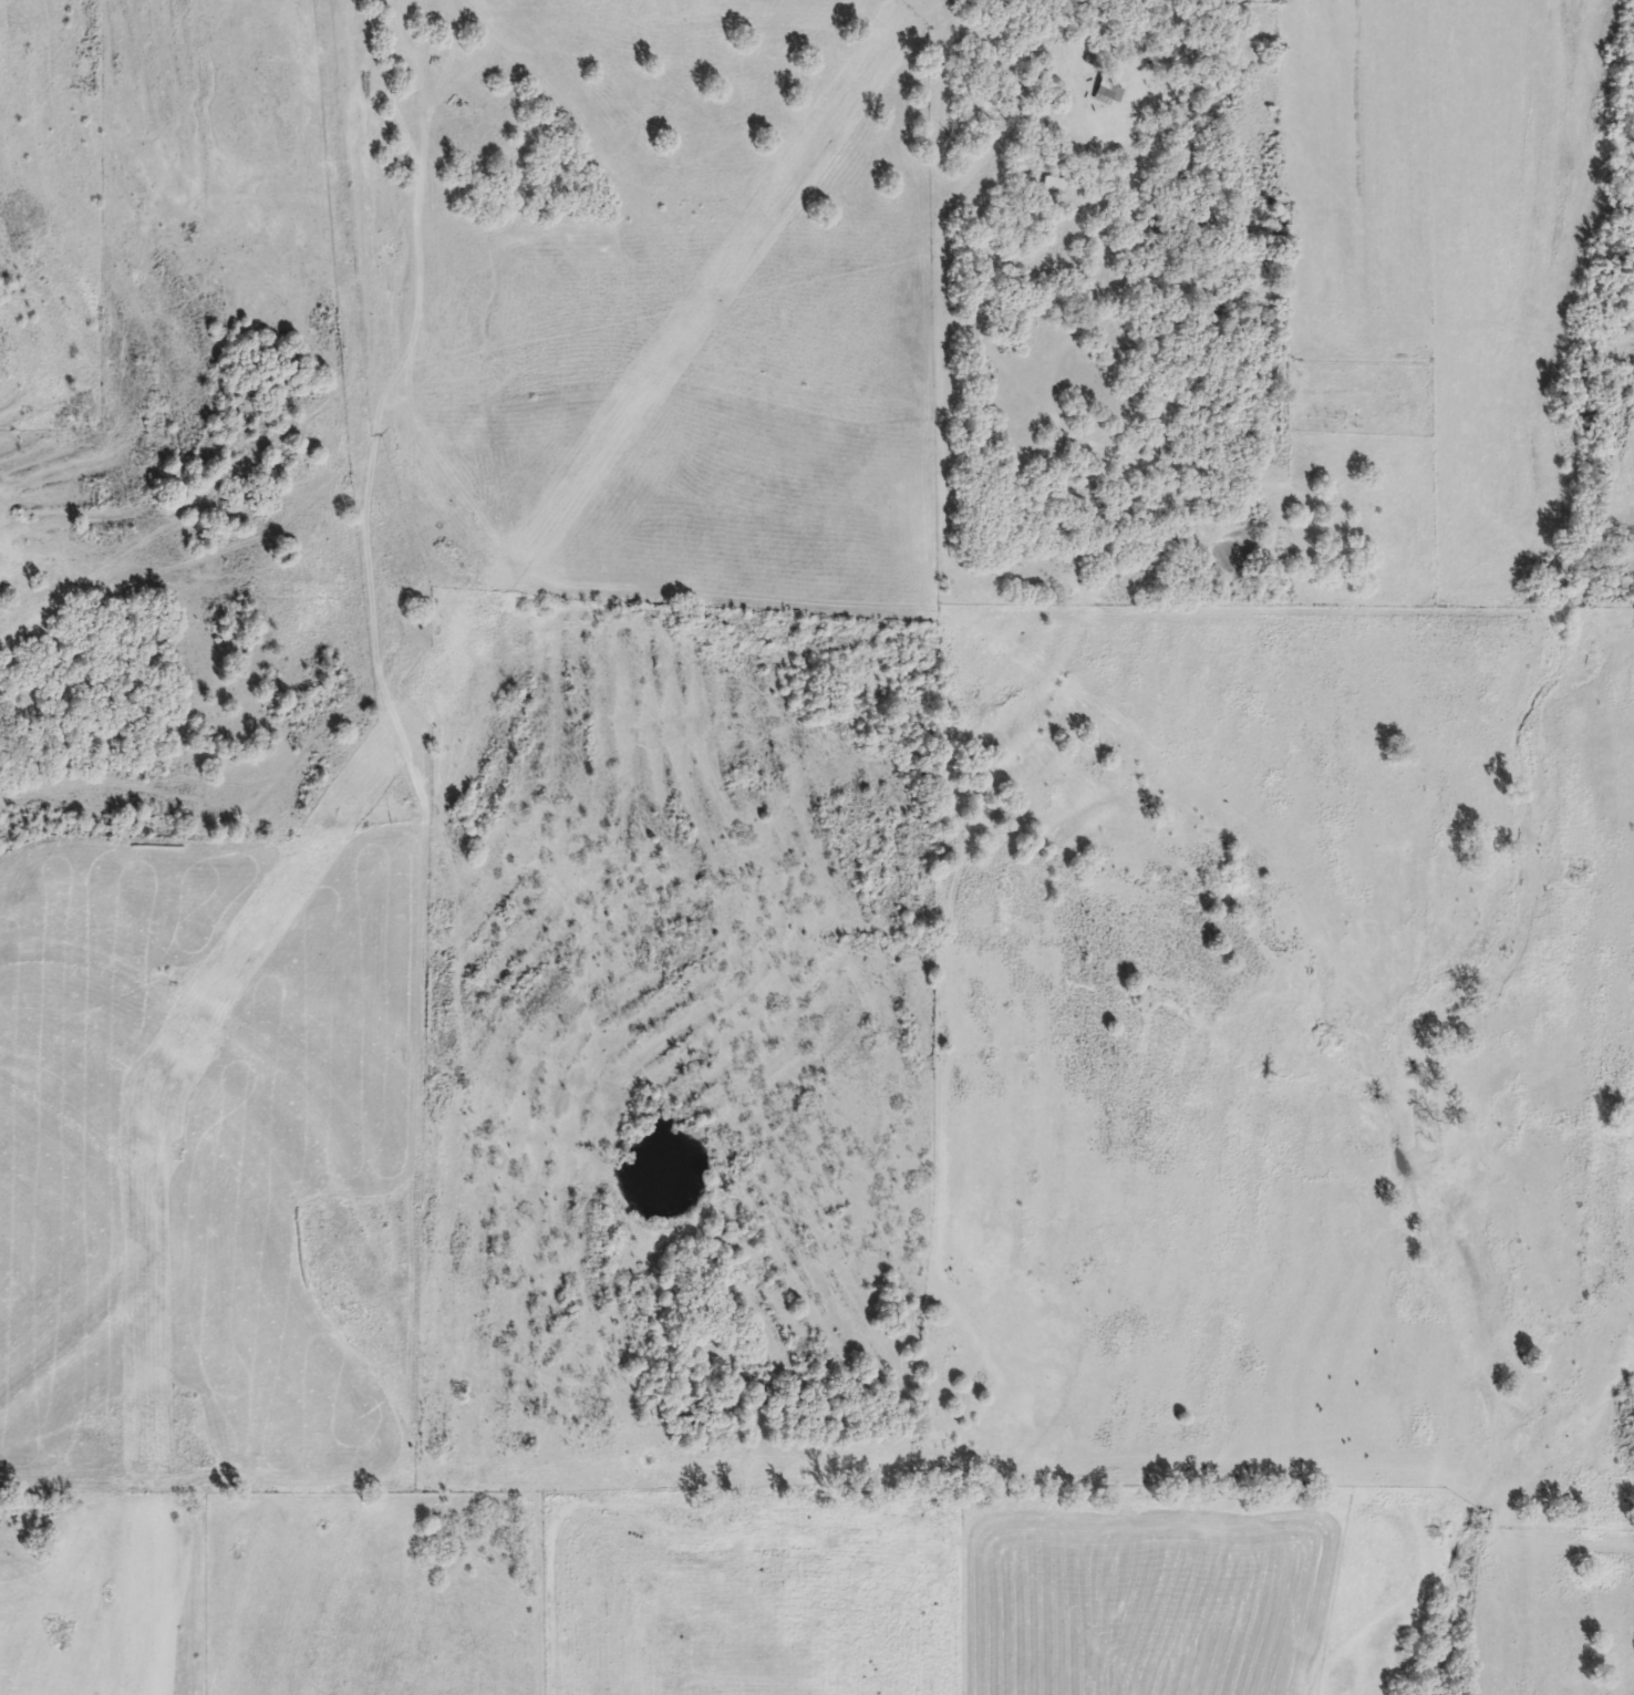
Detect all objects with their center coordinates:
building: (1107, 93)

